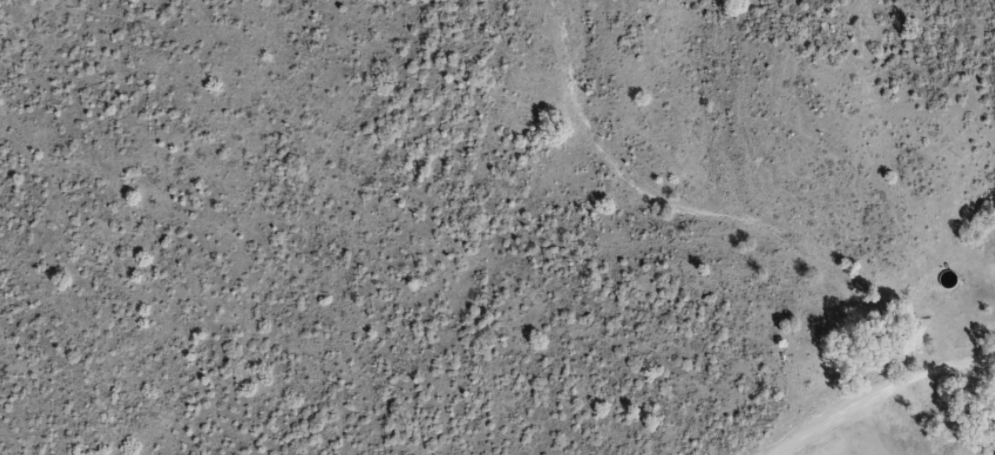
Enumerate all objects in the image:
road: (887, 395)

